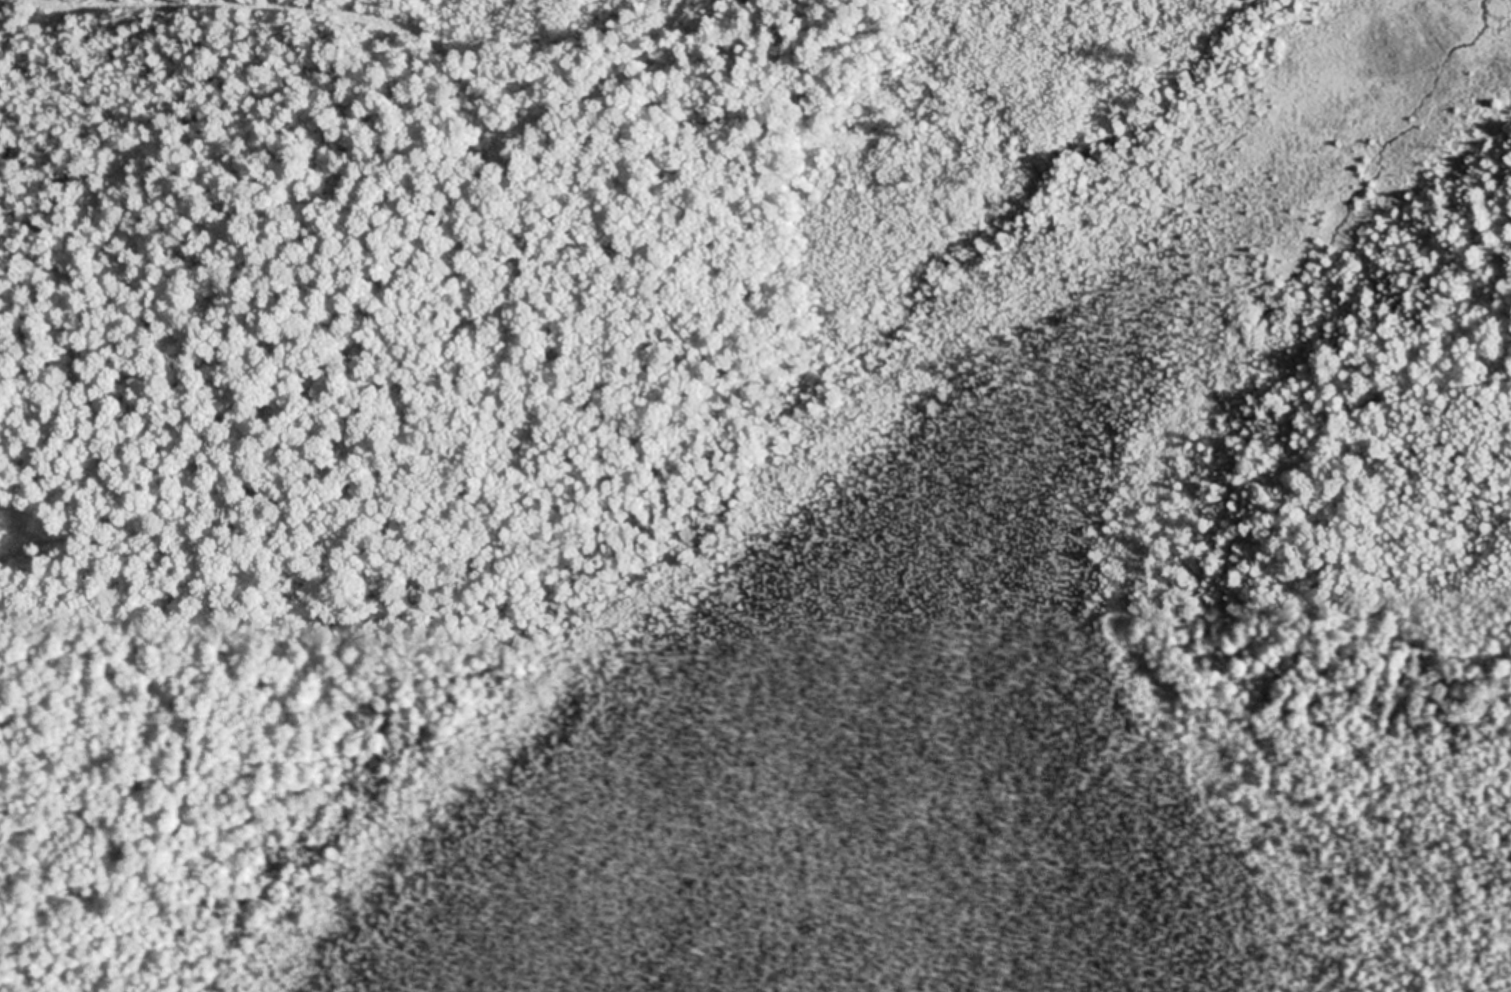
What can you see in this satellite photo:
road: (4, 532)

